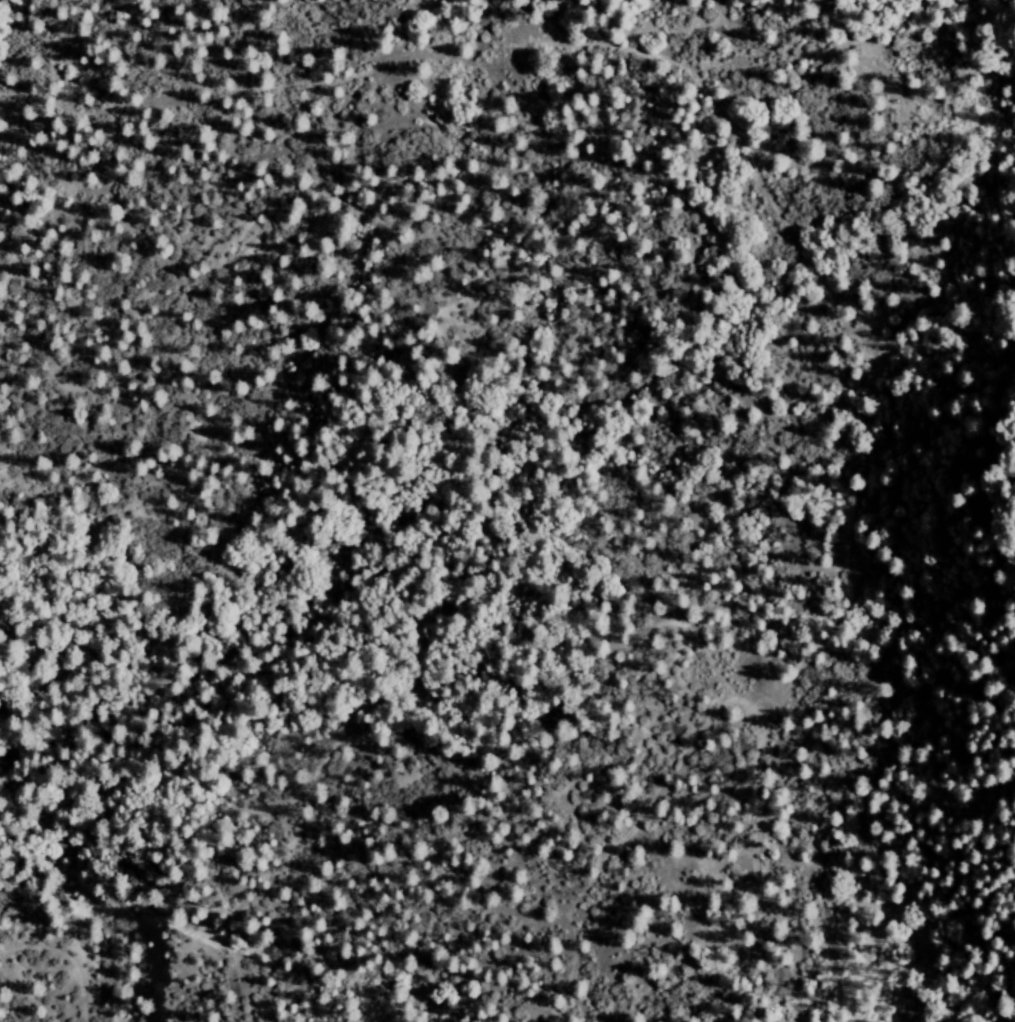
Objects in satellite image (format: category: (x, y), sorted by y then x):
road: (537, 690)

